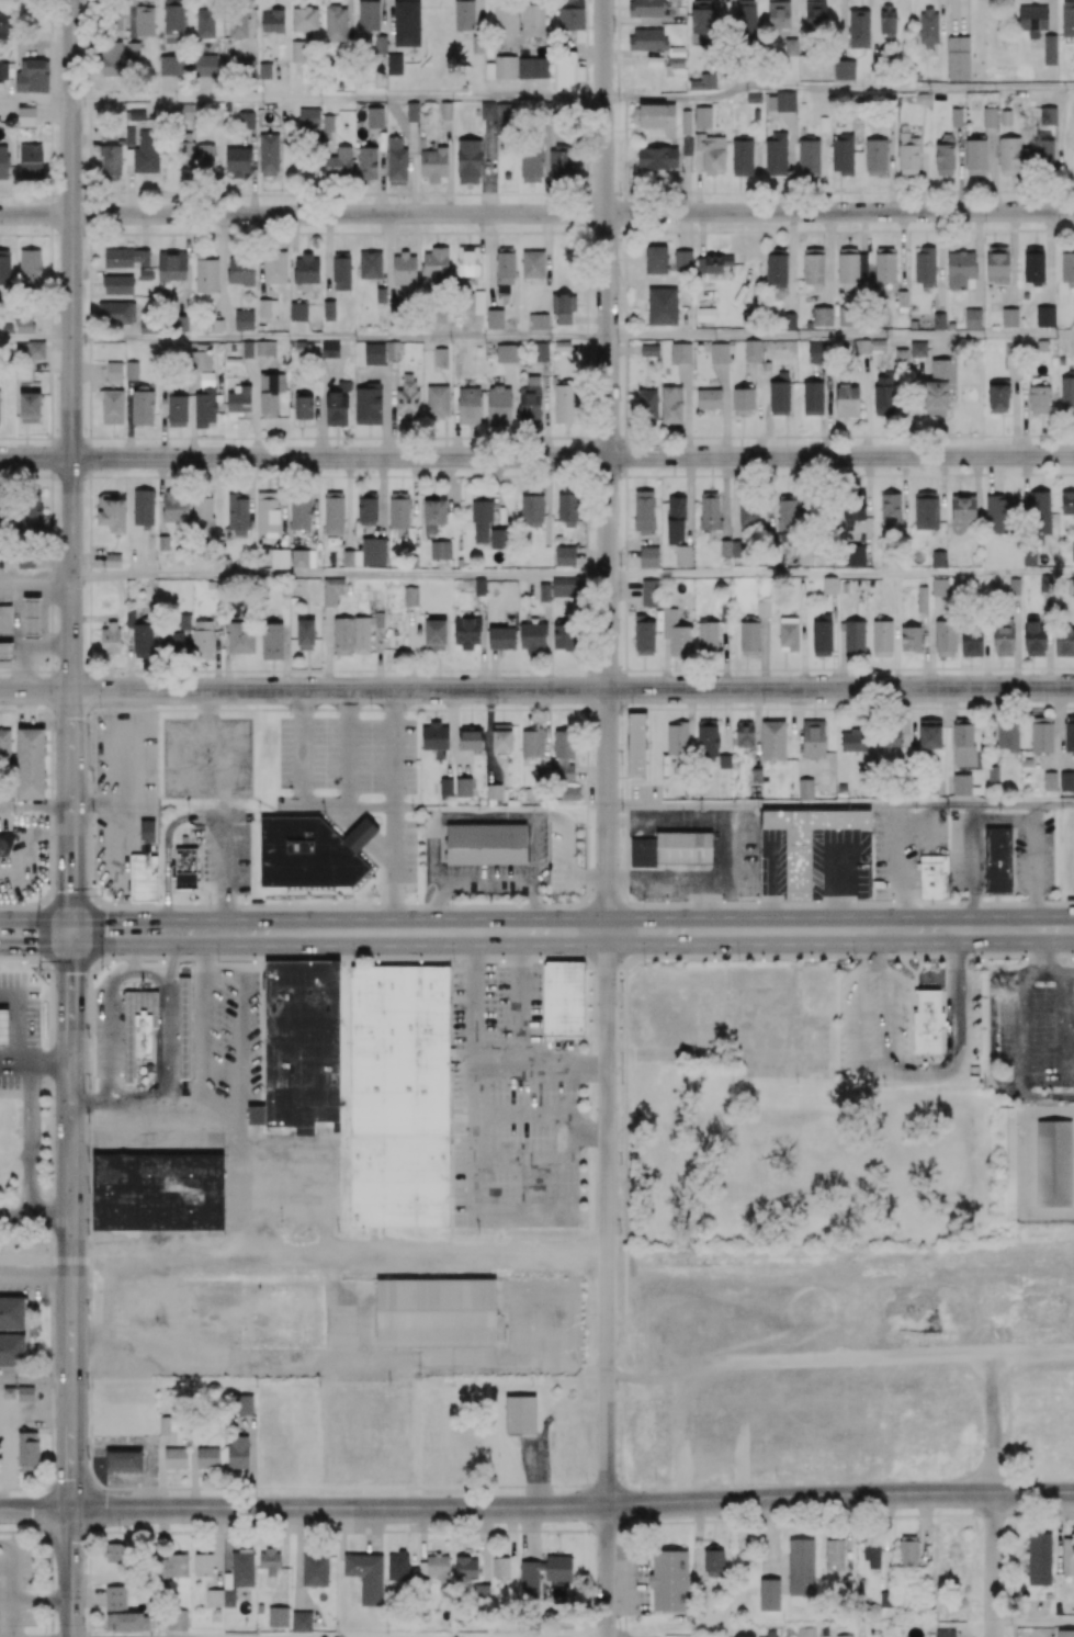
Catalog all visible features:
road: (940, 10)
road: (1049, 16)
road: (958, 18)
road: (843, 30)
road: (838, 88)
road: (338, 99)
road: (36, 100)
building: (26, 115)
building: (308, 117)
road: (573, 213)
road: (36, 215)
road: (683, 232)
road: (863, 232)
road: (701, 234)
road: (902, 250)
road: (827, 258)
road: (1049, 258)
building: (655, 259)
road: (1013, 259)
road: (547, 261)
building: (682, 261)
road: (940, 261)
building: (434, 263)
building: (369, 264)
building: (1025, 295)
building: (902, 298)
building: (662, 306)
building: (297, 311)
building: (705, 314)
building: (1044, 316)
road: (590, 317)
building: (1009, 317)
building: (972, 318)
building: (244, 319)
building: (938, 320)
building: (951, 325)
building: (5, 327)
road: (840, 337)
road: (340, 339)
road: (36, 340)
road: (71, 345)
building: (35, 350)
building: (648, 350)
building: (751, 350)
building: (681, 352)
building: (766, 365)
building: (114, 371)
building: (708, 398)
road: (513, 409)
road: (544, 409)
street lamp: (84, 433)
road: (573, 456)
road: (35, 458)
road: (608, 465)
road: (496, 493)
road: (381, 497)
building: (440, 550)
road: (591, 555)
road: (622, 555)
building: (279, 556)
building: (564, 556)
building: (648, 556)
building: (938, 558)
building: (459, 561)
road: (840, 574)
road: (35, 576)
road: (339, 576)
building: (870, 583)
building: (829, 584)
building: (1014, 586)
building: (563, 587)
street lamp: (83, 588)
road: (623, 588)
building: (762, 609)
building: (724, 614)
road: (92, 617)
building: (4, 619)
building: (31, 619)
building: (909, 639)
road: (327, 648)
road: (409, 648)
building: (5, 653)
road: (493, 670)
road: (573, 689)
road: (35, 690)
street lamp: (371, 705)
street lamp: (99, 707)
street lamp: (631, 707)
street lamp: (335, 714)
street lamp: (405, 714)
street lamp: (290, 715)
road: (71, 723)
street lamp: (88, 734)
road: (301, 747)
road: (346, 748)
road: (394, 748)
parking lot: (207, 758)
building: (1027, 761)
building: (30, 763)
building: (1049, 780)
building: (1066, 781)
road: (71, 794)
road: (840, 806)
road: (35, 808)
road: (393, 812)
street lamp: (93, 814)
road: (643, 814)
road: (666, 820)
building: (361, 837)
building: (809, 843)
building: (487, 845)
building: (5, 846)
road: (168, 850)
building: (672, 850)
road: (724, 855)
building: (306, 856)
building: (999, 861)
building: (184, 871)
road: (224, 874)
road: (680, 878)
building: (935, 878)
building: (144, 879)
road: (486, 882)
road: (71, 883)
street lamp: (38, 895)
street lamp: (100, 896)
street lamp: (407, 896)
street lamp: (1055, 896)
street lamp: (986, 899)
street lamp: (759, 901)
street lamp: (320, 902)
street lamp: (425, 902)
street lamp: (546, 902)
street lamp: (642, 902)
street lamp: (869, 902)
street lamp: (212, 904)
road: (988, 929)
road: (555, 932)
road: (13, 933)
road: (48, 933)
traffic signals: (71, 933)
road: (92, 933)
road: (160, 933)
road: (1042, 948)
road: (132, 951)
street lamp: (572, 955)
street lamp: (824, 959)
street lamp: (109, 960)
street lamp: (487, 960)
street lamp: (700, 960)
street lamp: (940, 960)
street lamp: (217, 961)
street lamp: (370, 961)
building: (25, 967)
road: (1039, 968)
street lamp: (42, 970)
road: (149, 974)
building: (564, 996)
road: (71, 997)
road: (518, 1000)
road: (167, 1020)
road: (18, 1023)
building: (928, 1023)
building: (135, 1025)
building: (184, 1028)
building: (3, 1029)
road: (240, 1029)
parking lot: (19, 1032)
road: (106, 1032)
building: (147, 1035)
building: (303, 1047)
building: (399, 1051)
road: (35, 1062)
road: (540, 1068)
road: (1044, 1097)
road: (202, 1103)
road: (137, 1110)
road: (545, 1114)
road: (473, 1120)
road: (30, 1138)
road: (326, 1159)
road: (533, 1159)
building: (1055, 1165)
building: (1006, 1166)
building: (400, 1183)
building: (159, 1195)
road: (35, 1213)
road: (608, 1218)
street lamp: (88, 1233)
road: (71, 1237)
road: (339, 1251)
road: (35, 1254)
road: (35, 1277)
road: (339, 1361)
road: (35, 1381)
road: (1, 1411)
road: (12, 1412)
road: (992, 1422)
road: (145, 1442)
road: (71, 1459)
street lamp: (88, 1459)
road: (573, 1506)
road: (35, 1509)
street lamp: (255, 1526)
road: (245, 1531)
road: (994, 1565)
street lamp: (83, 1567)
road: (608, 1571)
road: (71, 1572)
road: (1033, 1621)

